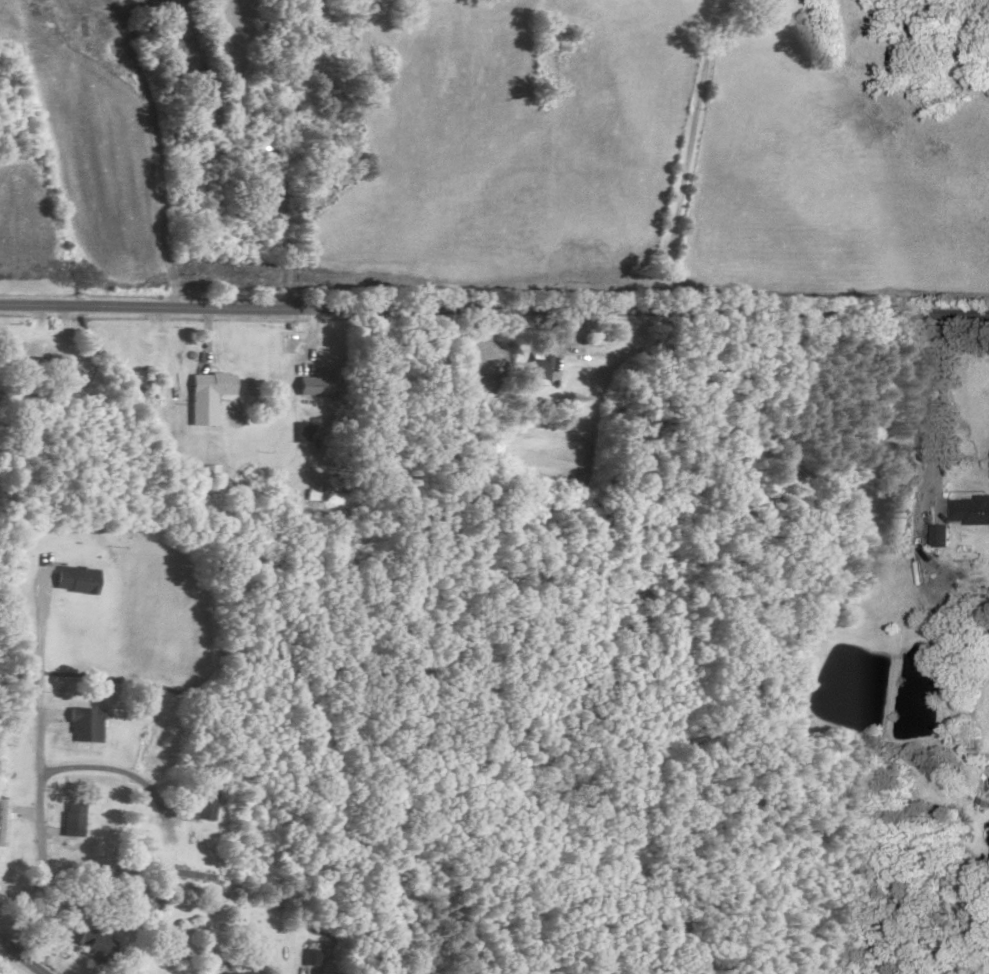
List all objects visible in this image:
building: (258, 148)
road: (494, 287)
building: (539, 369)
building: (42, 371)
building: (314, 385)
building: (205, 397)
building: (299, 434)
building: (970, 512)
building: (332, 513)
building: (939, 537)
building: (74, 581)
building: (83, 726)
building: (203, 807)
building: (73, 822)
building: (2, 824)
road: (448, 878)
road: (50, 935)
building: (83, 941)
building: (308, 958)
building: (248, 973)

